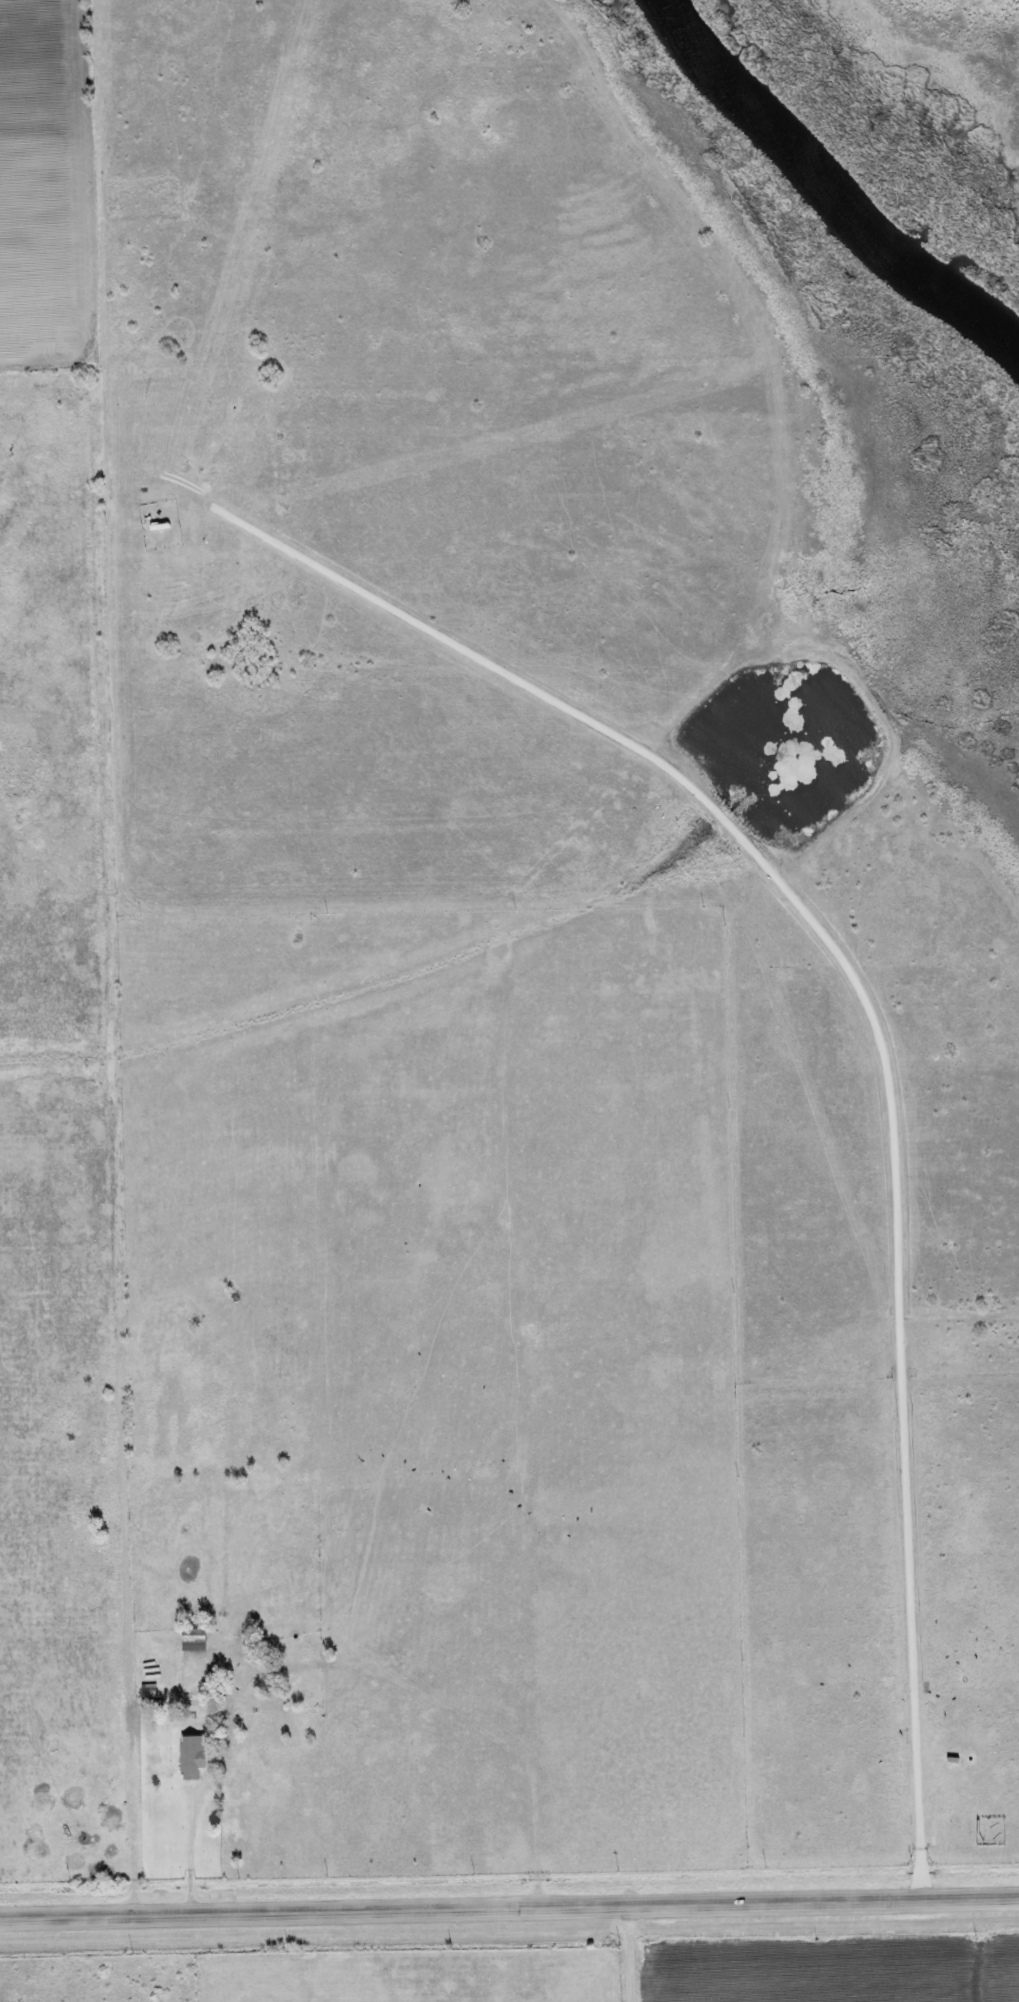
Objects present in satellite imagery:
building: (192, 1756)
road: (509, 1905)
road: (627, 1952)

